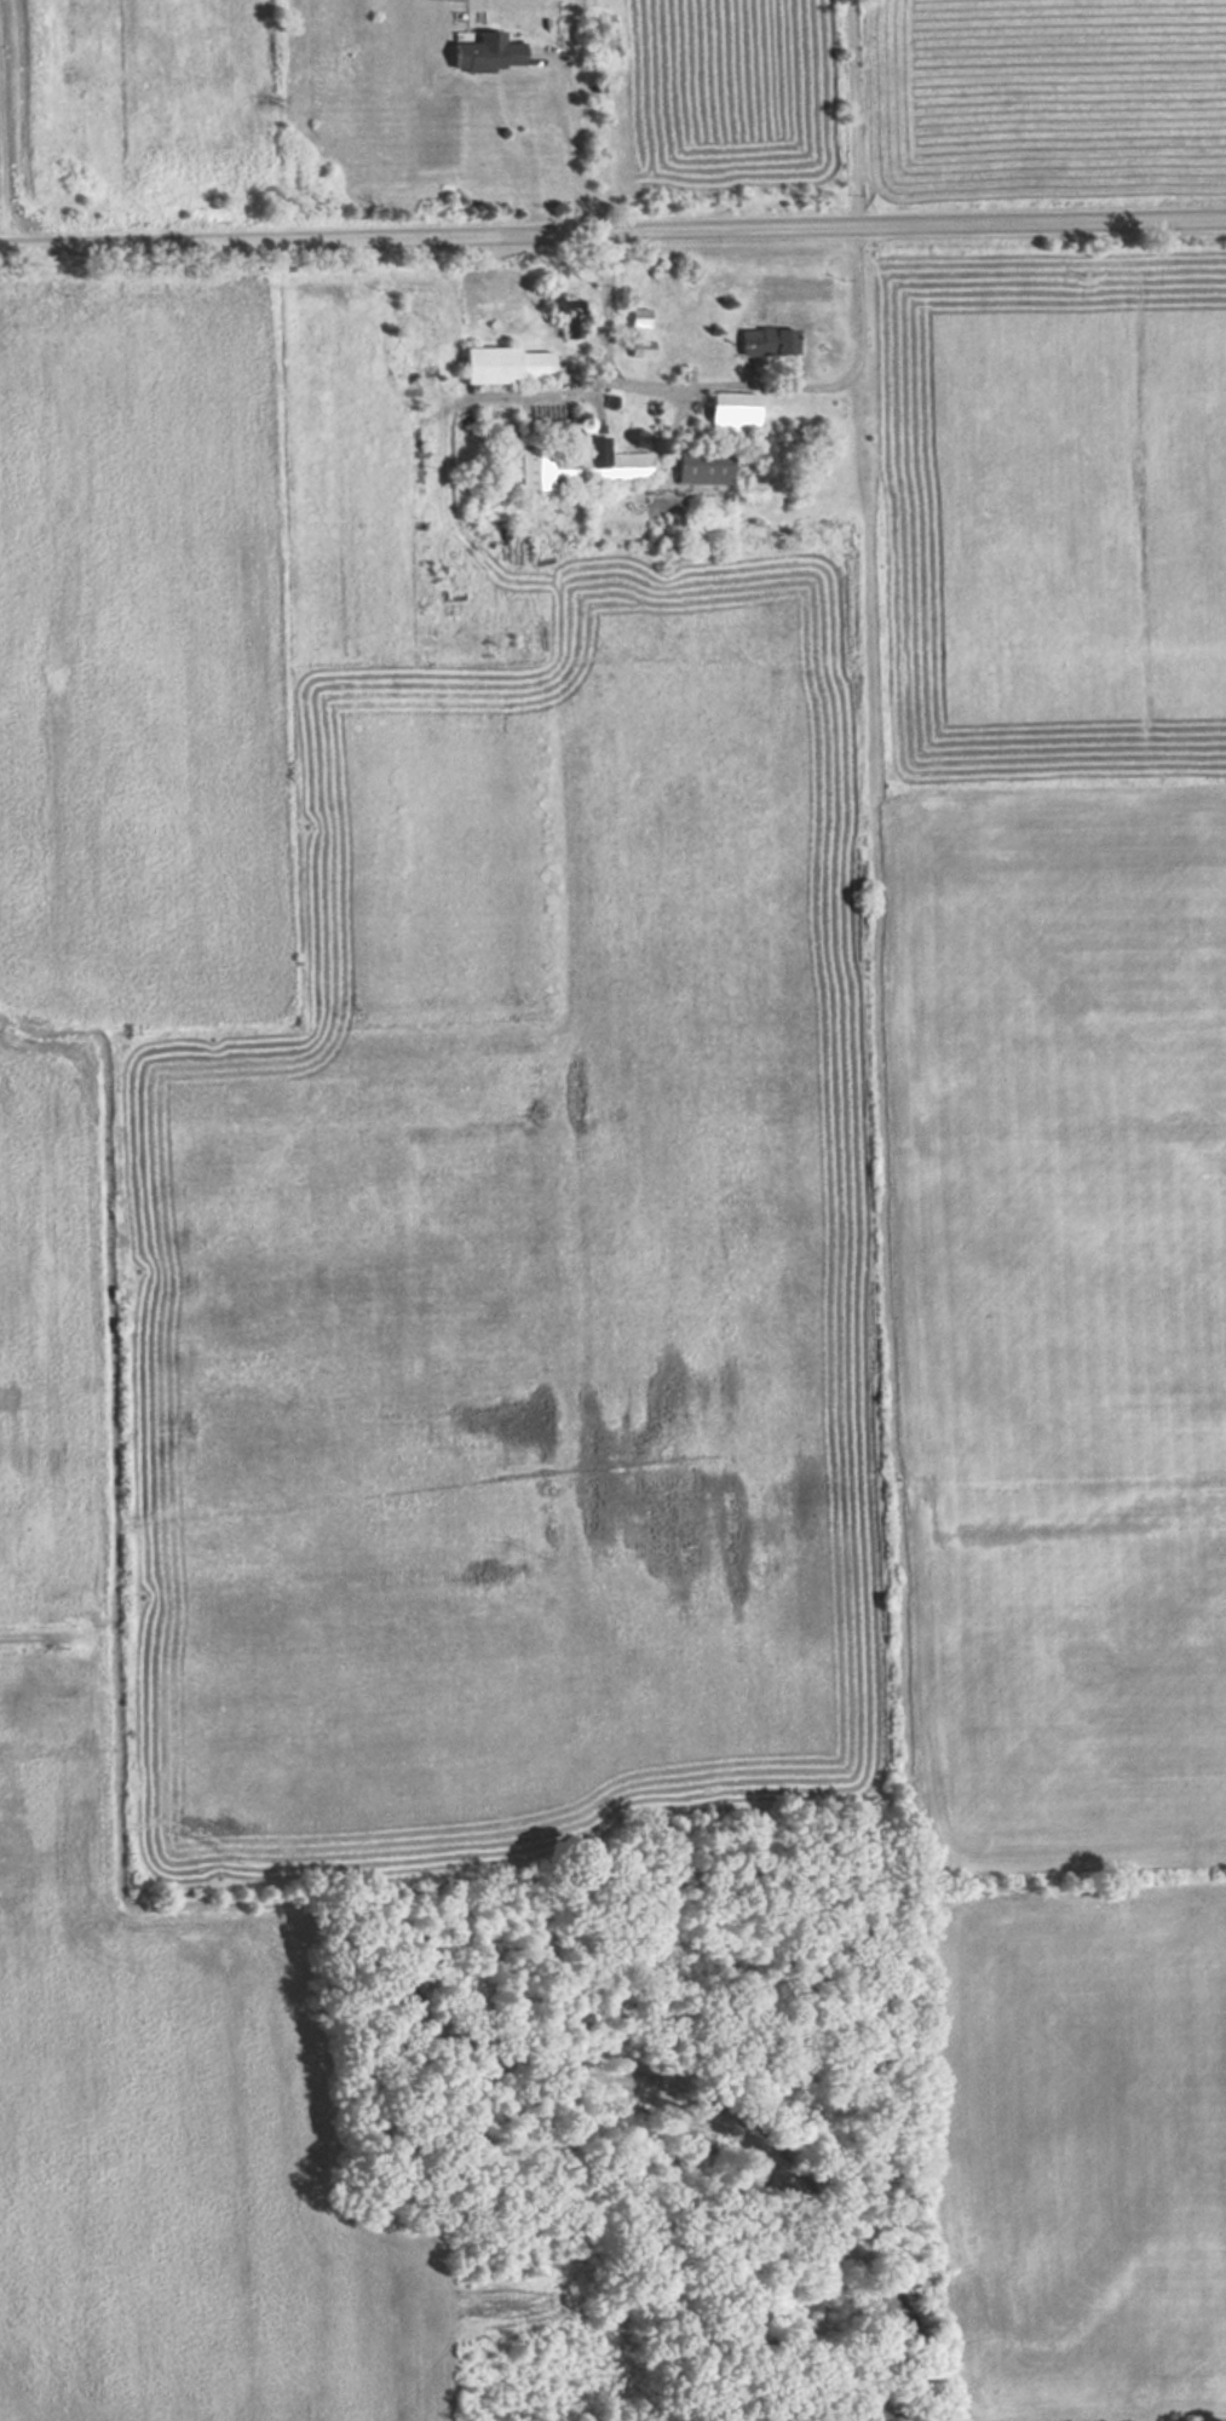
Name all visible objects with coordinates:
building: (478, 52)
road: (570, 137)
road: (612, 229)
building: (559, 309)
building: (762, 340)
building: (501, 364)
road: (732, 379)
building: (730, 412)
building: (571, 464)
building: (700, 465)
building: (899, 811)

